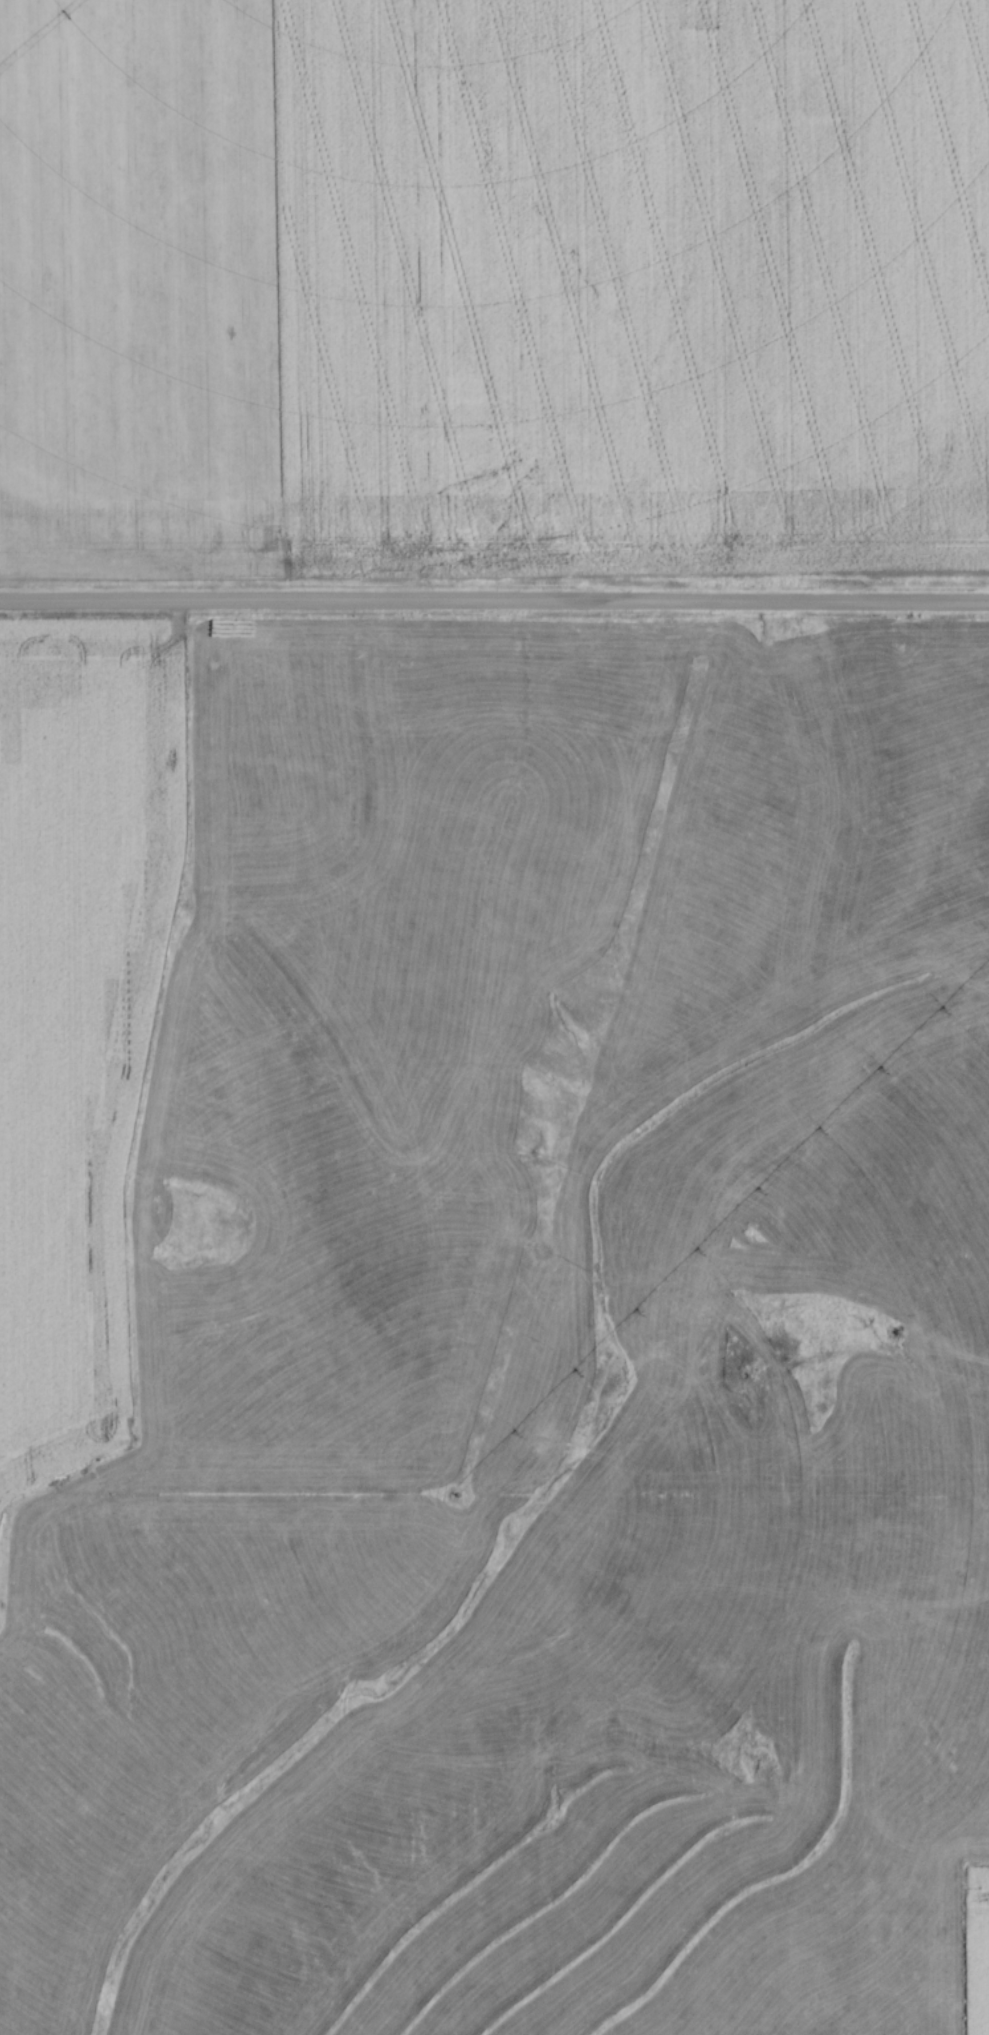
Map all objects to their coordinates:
road: (494, 606)

